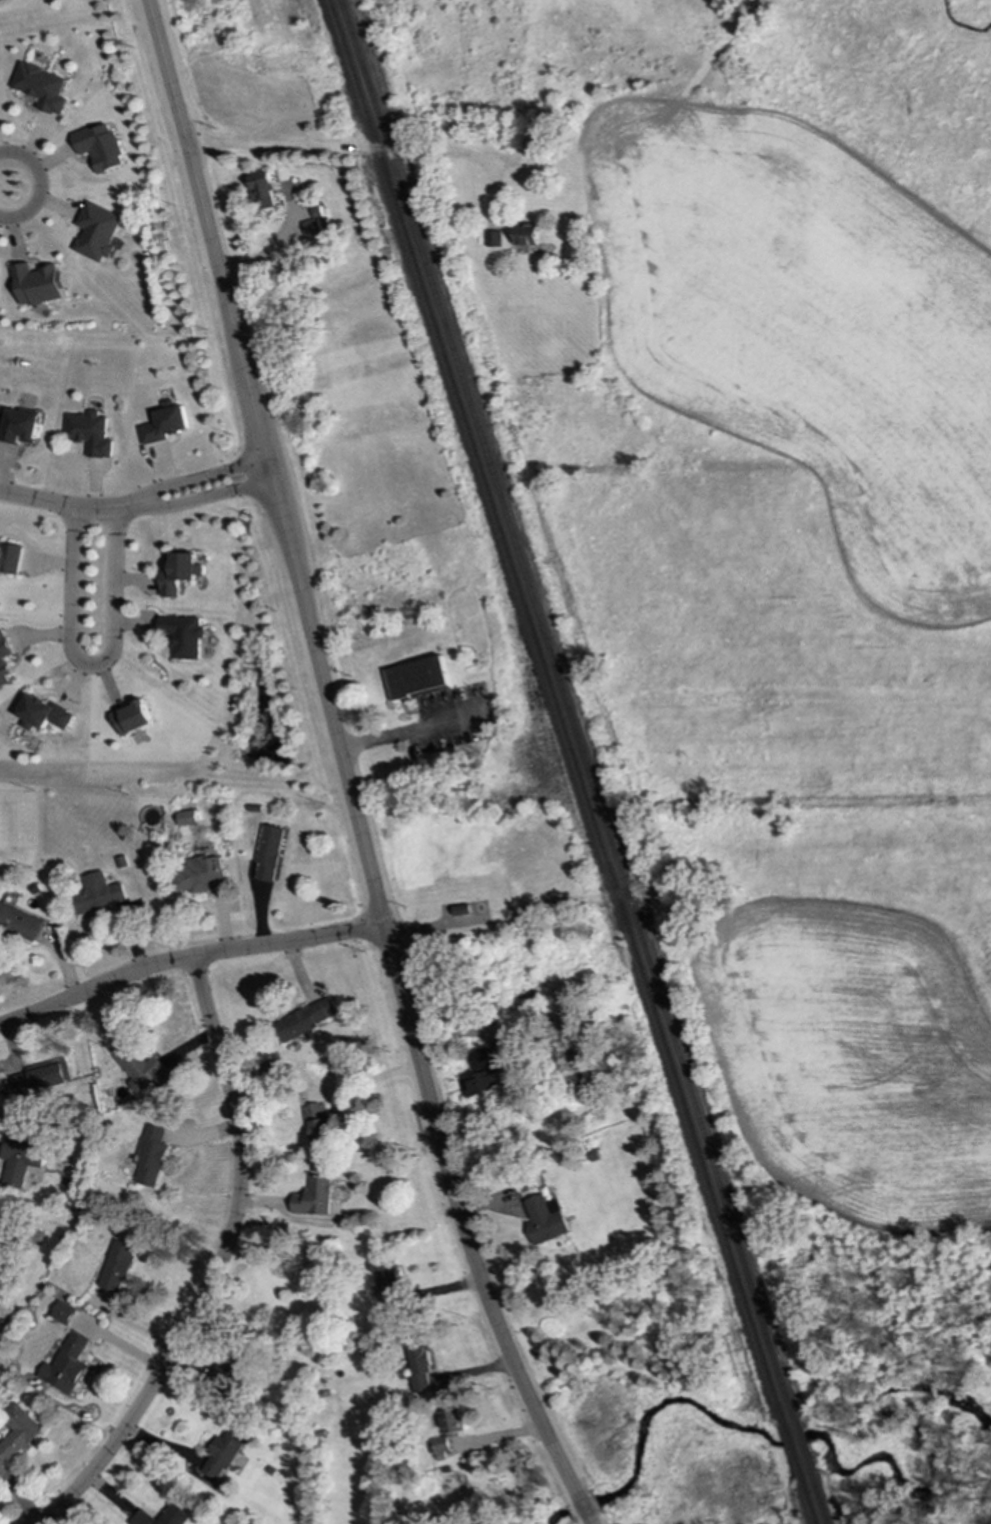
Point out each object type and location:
road: (716, 52)
building: (40, 87)
road: (341, 146)
building: (99, 147)
road: (37, 186)
building: (266, 190)
building: (314, 223)
building: (96, 231)
building: (527, 235)
building: (495, 239)
building: (36, 284)
crop: (810, 332)
building: (165, 423)
building: (18, 427)
building: (88, 433)
road: (198, 479)
road: (203, 498)
road: (66, 506)
building: (9, 558)
building: (179, 573)
building: (183, 635)
building: (3, 658)
road: (88, 666)
building: (418, 677)
railway: (568, 709)
railway: (557, 712)
building: (41, 713)
building: (129, 718)
road: (410, 731)
road: (344, 770)
building: (186, 818)
building: (269, 853)
building: (199, 875)
building: (97, 894)
road: (574, 901)
building: (462, 910)
building: (20, 923)
road: (436, 927)
road: (188, 960)
building: (307, 1019)
building: (481, 1059)
crop: (858, 1060)
building: (140, 1065)
building: (41, 1078)
building: (480, 1084)
building: (319, 1122)
building: (152, 1155)
building: (21, 1159)
building: (314, 1197)
building: (546, 1219)
building: (0, 1230)
building: (119, 1265)
road: (220, 1266)
building: (63, 1312)
building: (67, 1365)
building: (422, 1365)
building: (234, 1373)
building: (453, 1421)
building: (19, 1431)
railway: (803, 1447)
building: (443, 1448)
railway: (794, 1450)
building: (224, 1455)
railway: (820, 1499)
railway: (810, 1500)
building: (164, 1516)

